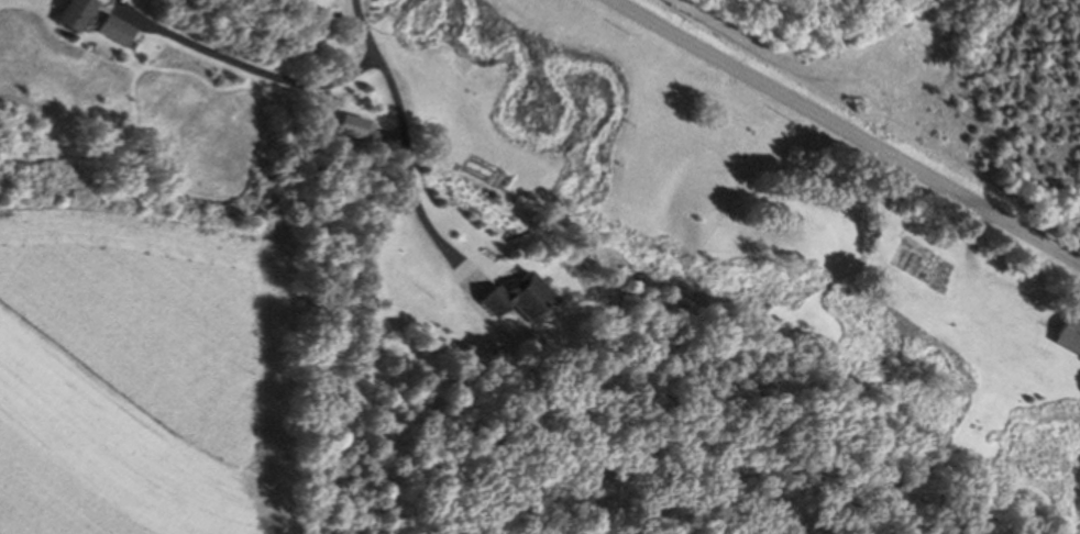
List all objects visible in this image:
building: (75, 13)
building: (115, 30)
road: (362, 30)
road: (365, 66)
road: (841, 132)
building: (522, 297)
building: (1069, 335)

